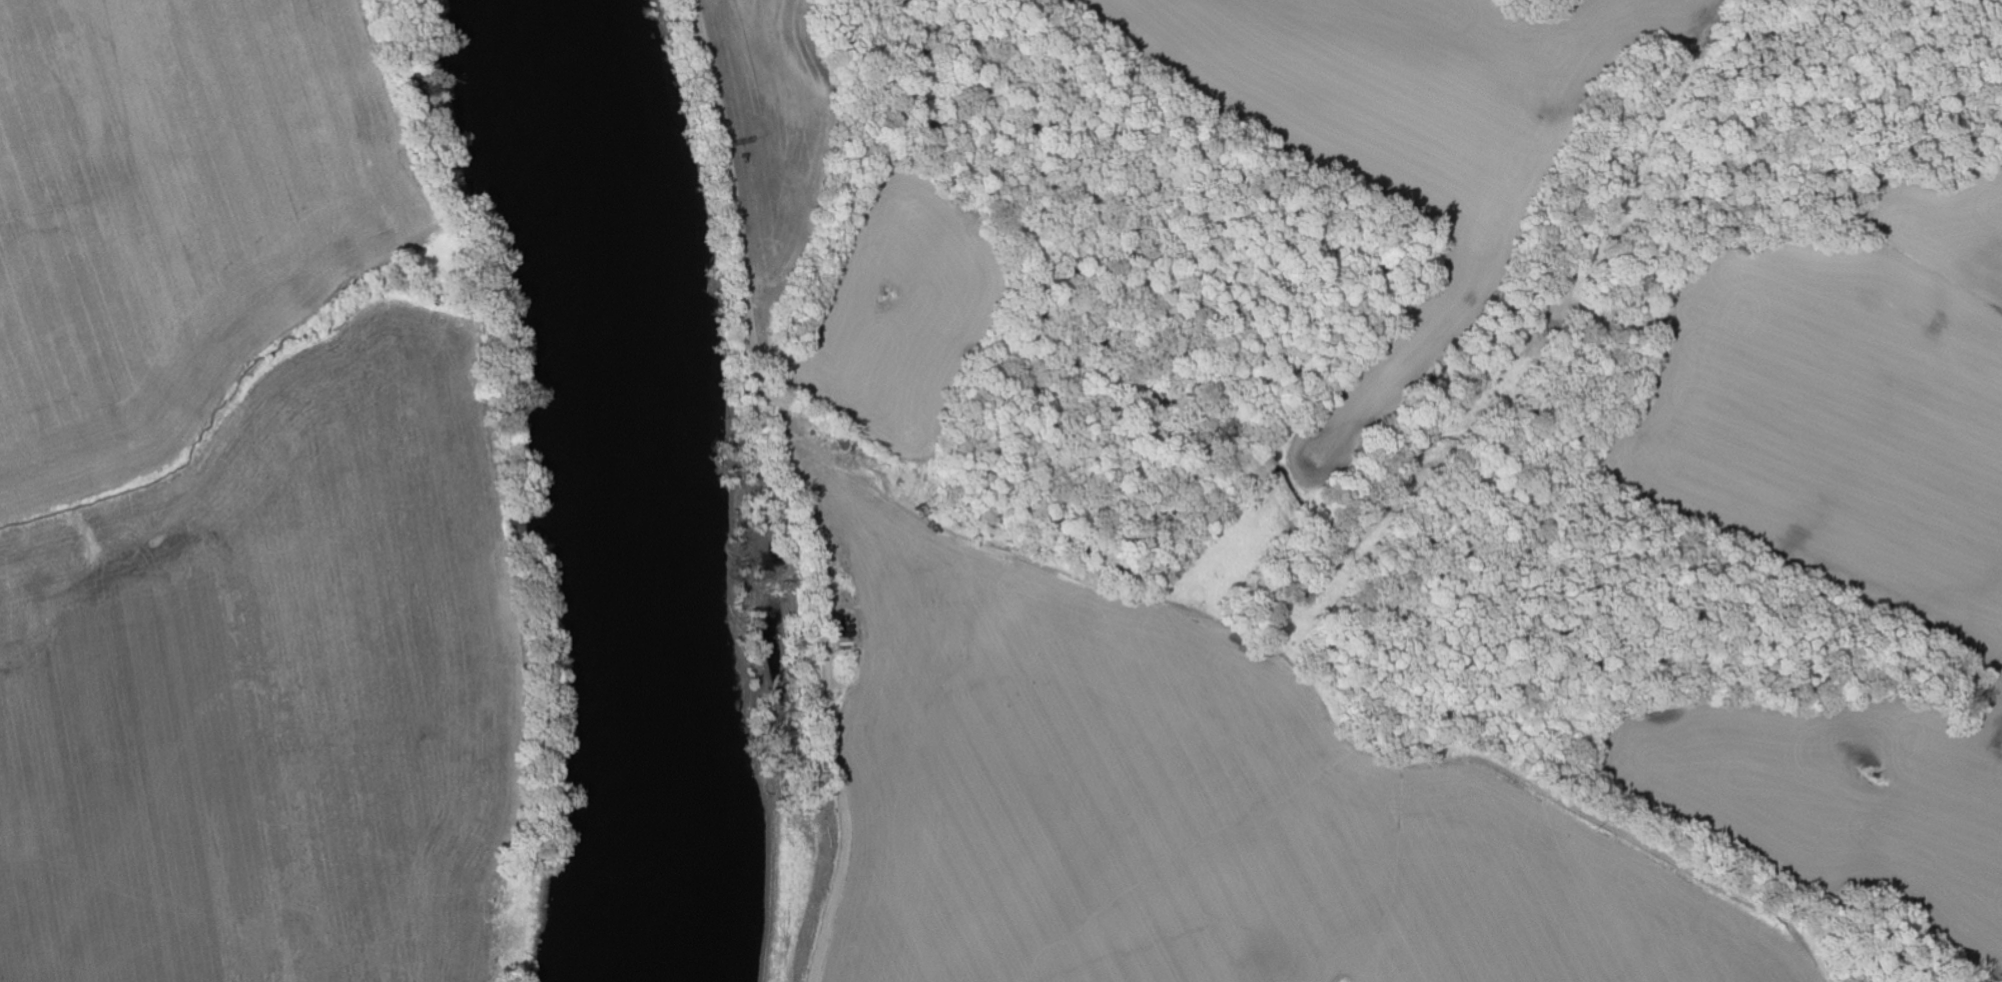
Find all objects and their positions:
river: (609, 485)

